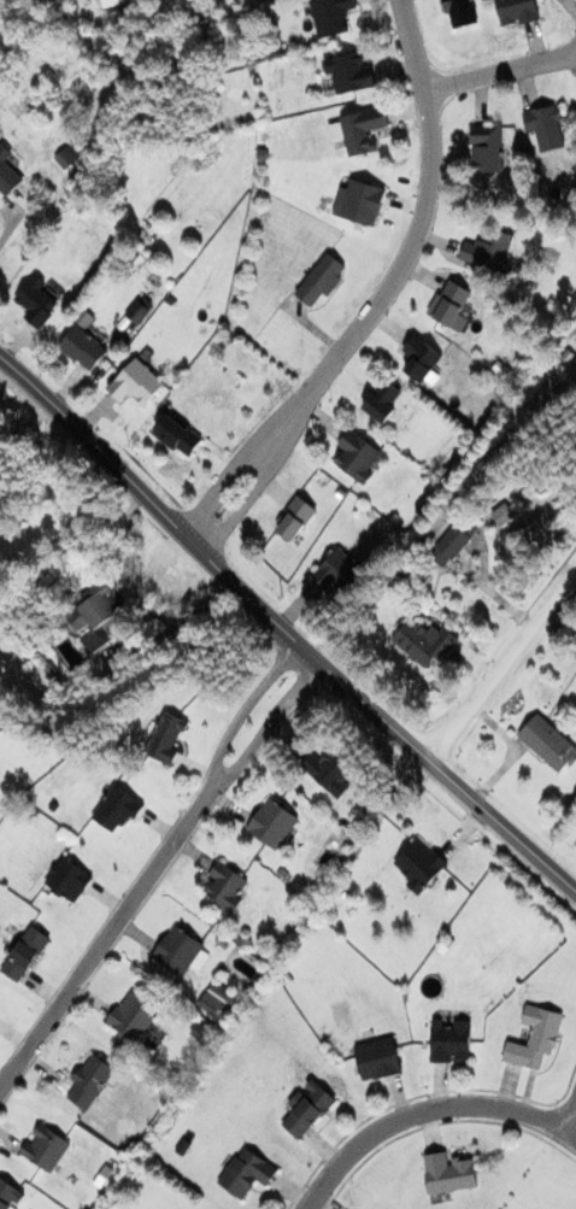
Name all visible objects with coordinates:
building: (521, 11)
building: (464, 12)
building: (330, 16)
road: (499, 70)
building: (348, 74)
building: (543, 128)
building: (357, 131)
building: (484, 151)
building: (65, 158)
building: (6, 175)
building: (357, 203)
road: (411, 242)
building: (484, 251)
building: (318, 281)
building: (34, 304)
building: (449, 305)
building: (81, 350)
building: (418, 359)
building: (133, 385)
building: (381, 403)
building: (175, 438)
building: (355, 457)
road: (241, 503)
building: (293, 521)
building: (451, 544)
building: (340, 571)
building: (92, 618)
road: (282, 632)
building: (421, 644)
building: (75, 657)
road: (500, 663)
building: (164, 738)
building: (547, 745)
building: (327, 773)
building: (113, 811)
building: (270, 824)
building: (417, 867)
road: (153, 869)
building: (65, 882)
building: (222, 887)
building: (176, 951)
building: (22, 955)
building: (206, 997)
building: (130, 1016)
building: (533, 1038)
building: (448, 1041)
building: (376, 1058)
building: (87, 1082)
building: (305, 1109)
road: (425, 1110)
road: (566, 1113)
building: (42, 1148)
building: (243, 1173)
building: (447, 1174)
building: (7, 1196)

